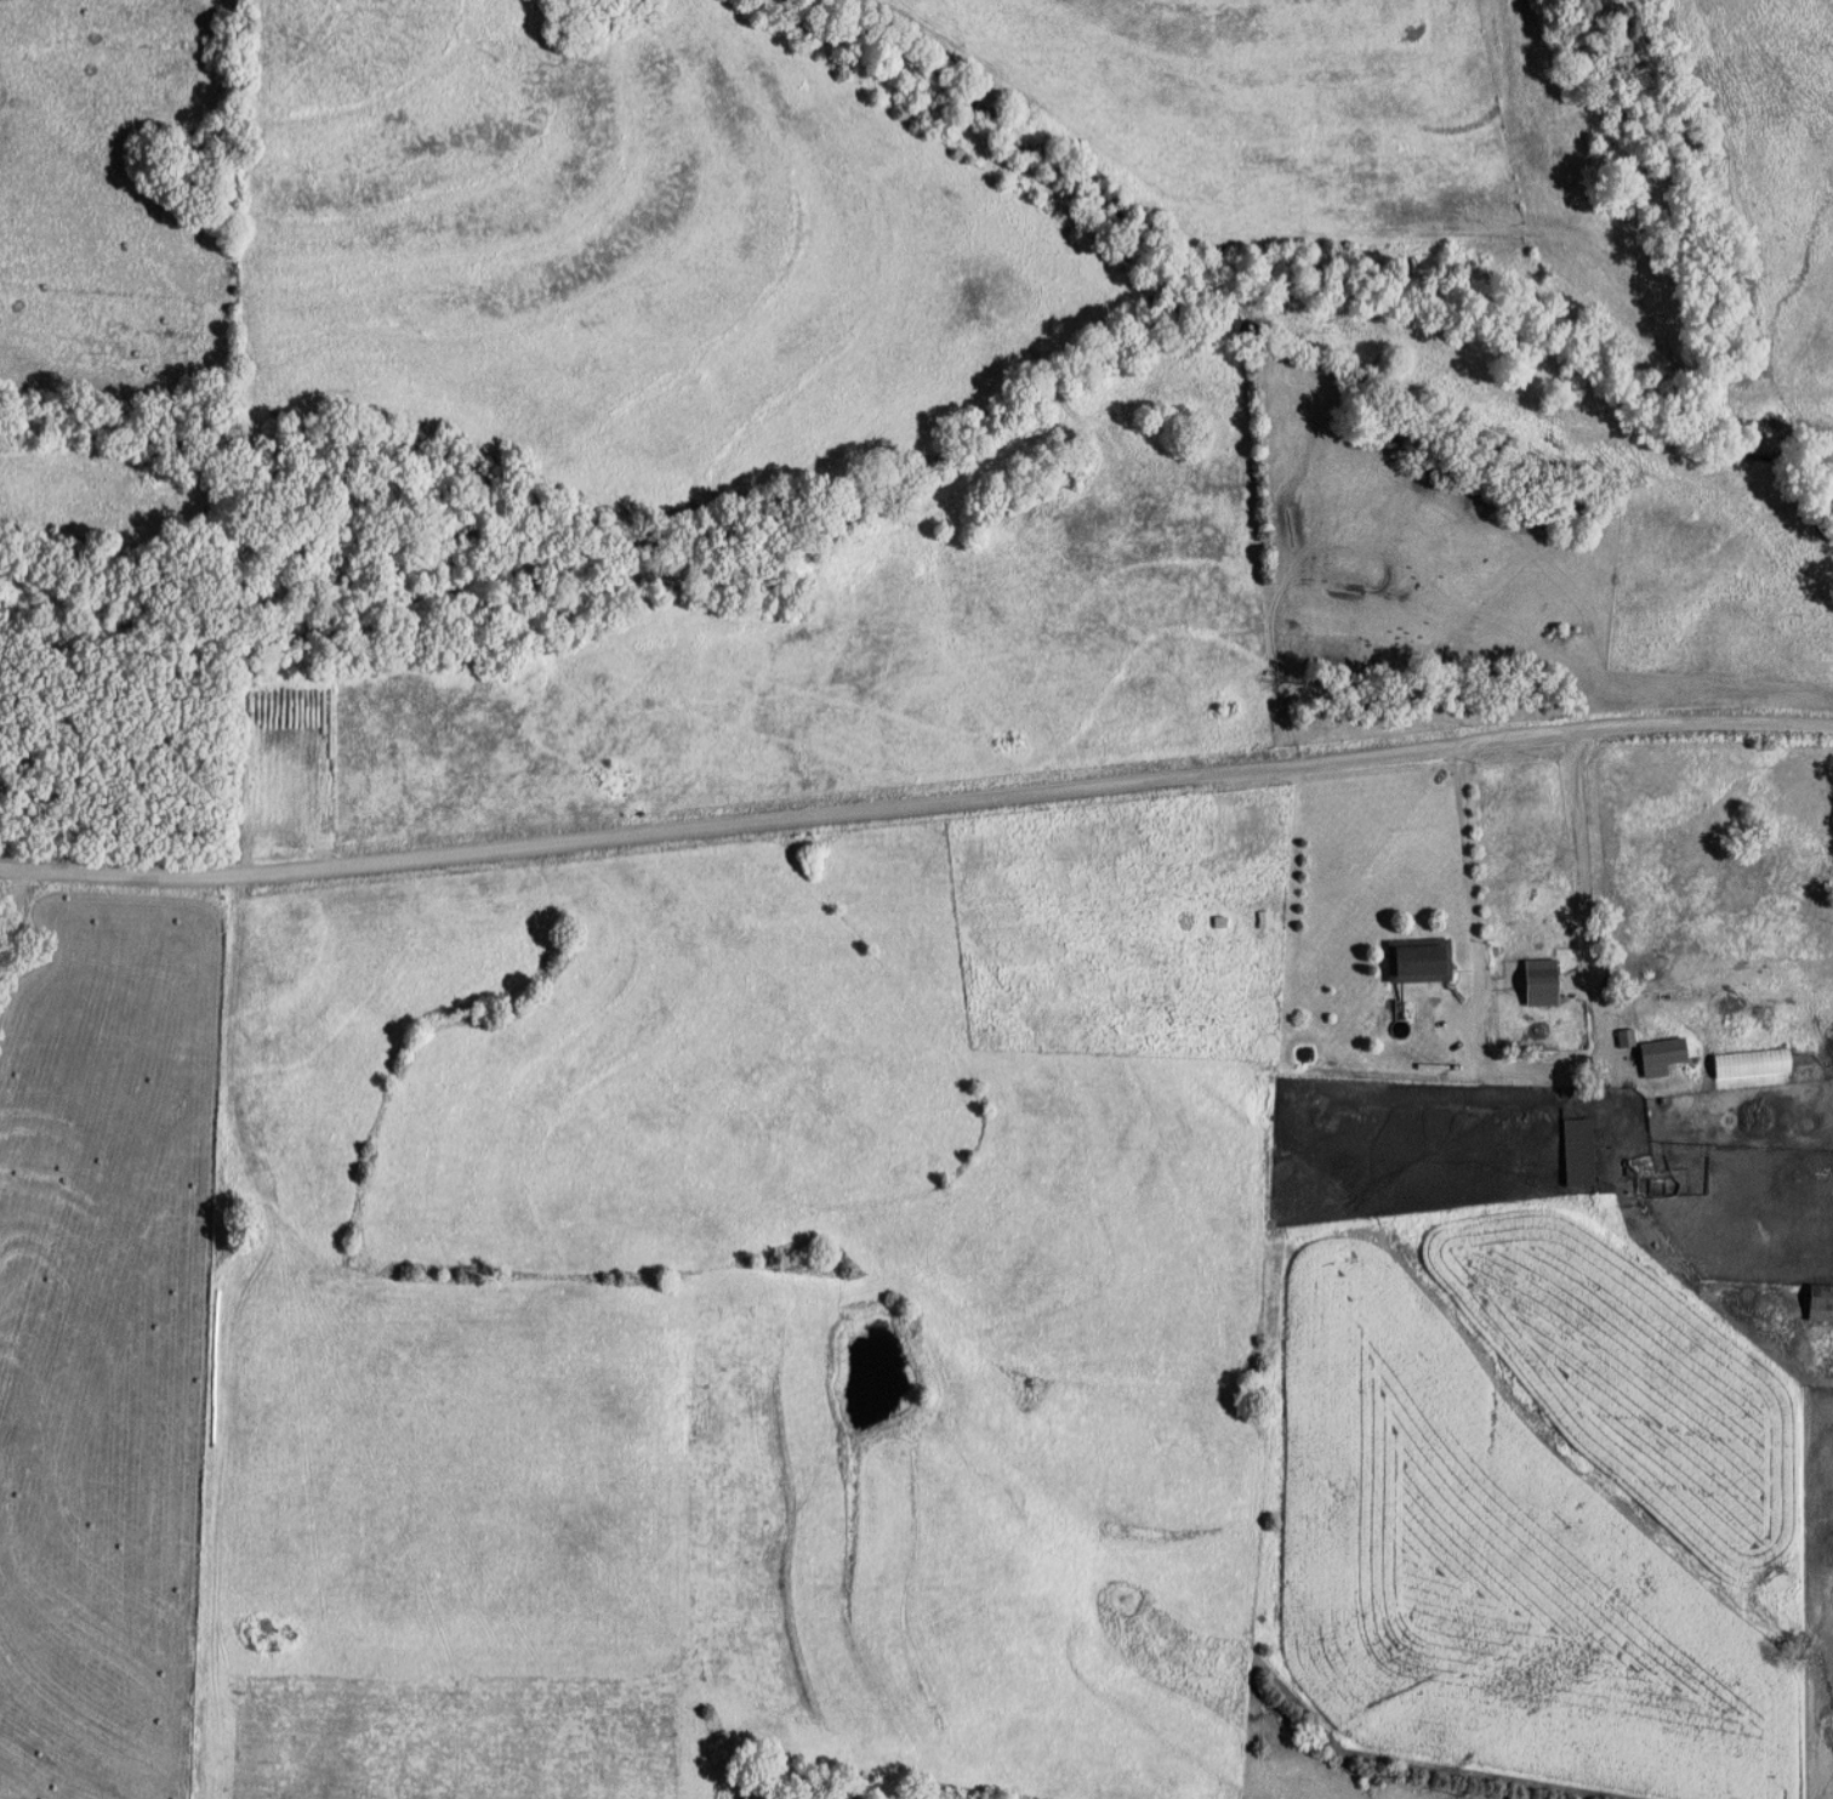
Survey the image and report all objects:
road: (916, 804)
building: (1265, 920)
building: (1416, 961)
building: (1539, 983)
building: (1656, 1054)
road: (1541, 1064)
building: (1749, 1064)
building: (1577, 1152)
building: (1820, 1303)
building: (759, 1795)

